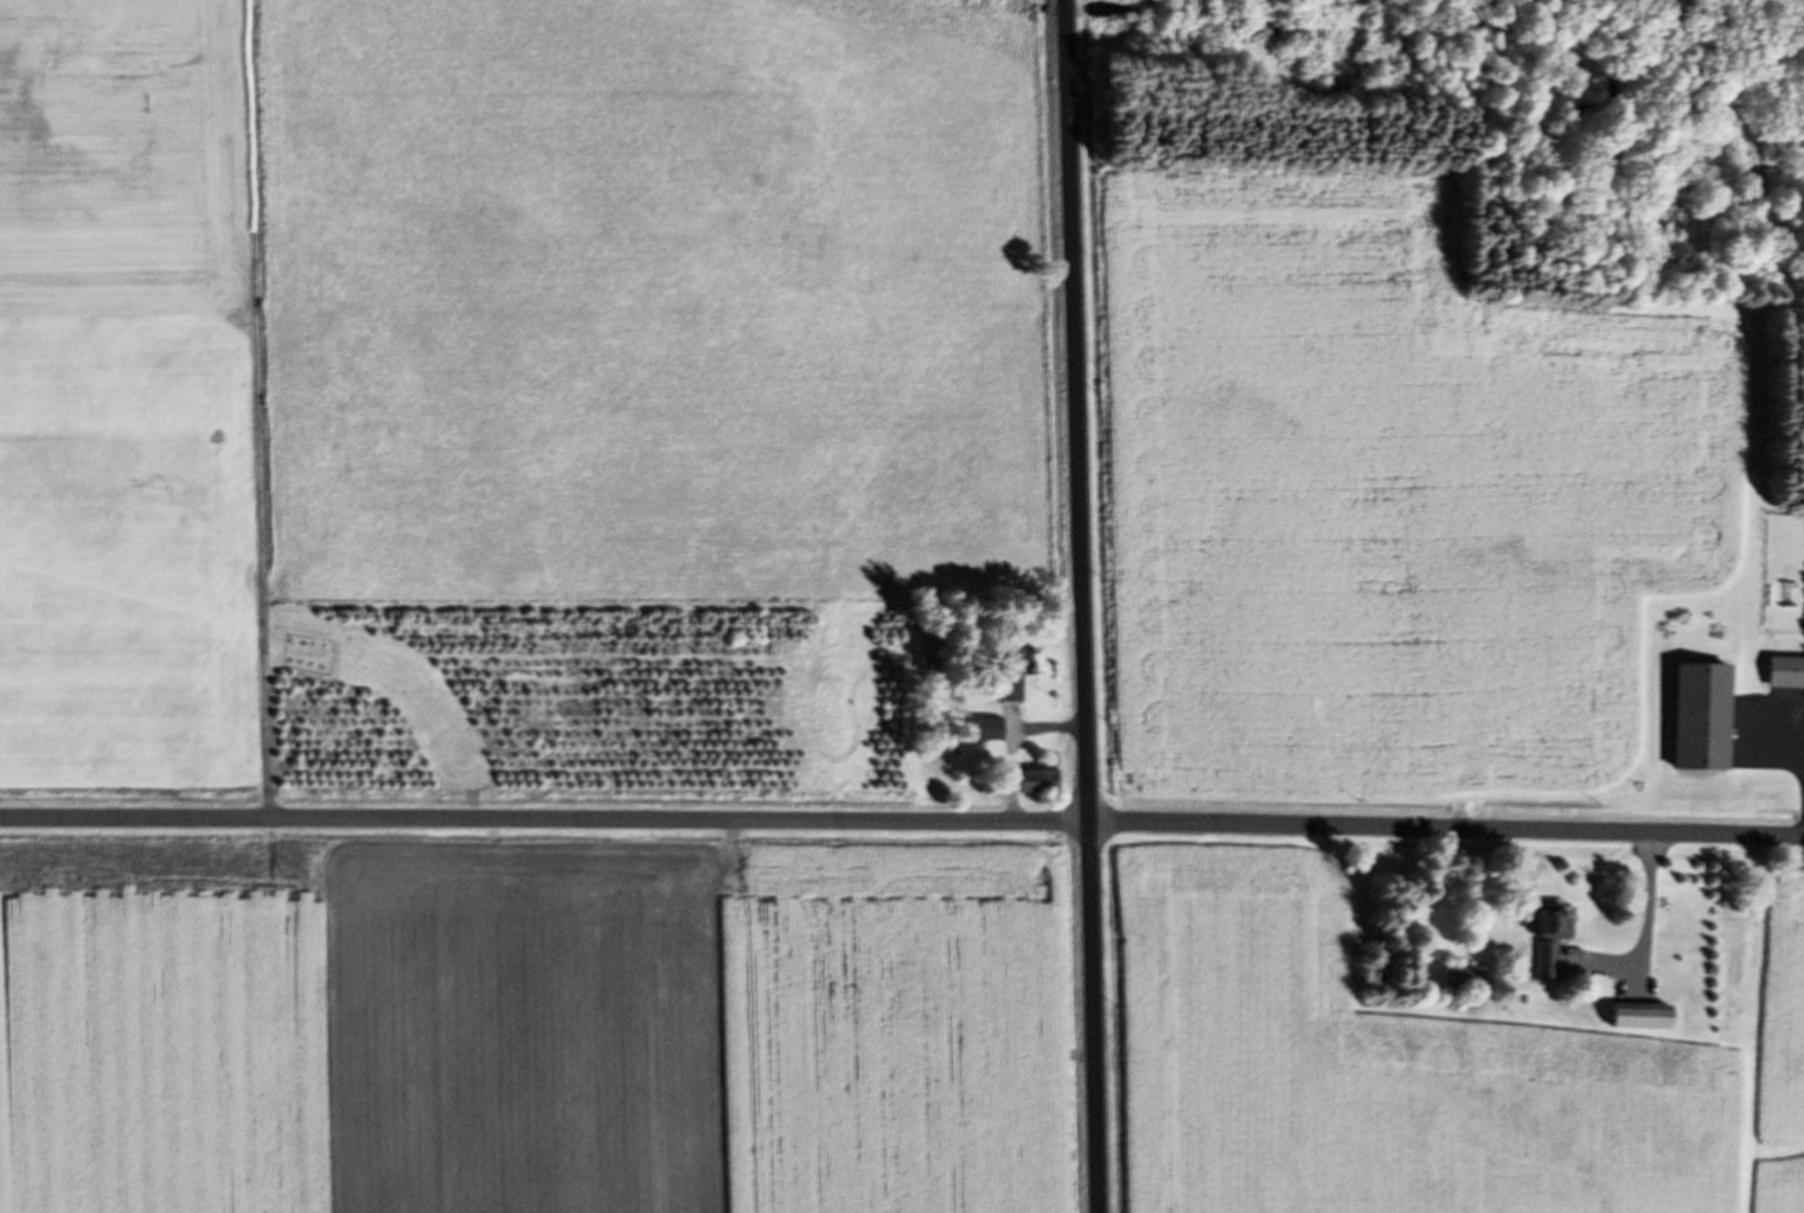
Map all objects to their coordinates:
road: (1082, 606)
road: (267, 613)
building: (1787, 672)
building: (1011, 675)
building: (1703, 716)
building: (992, 728)
building: (1042, 778)
road: (902, 822)
building: (1554, 928)
building: (1465, 977)
building: (1643, 1017)

